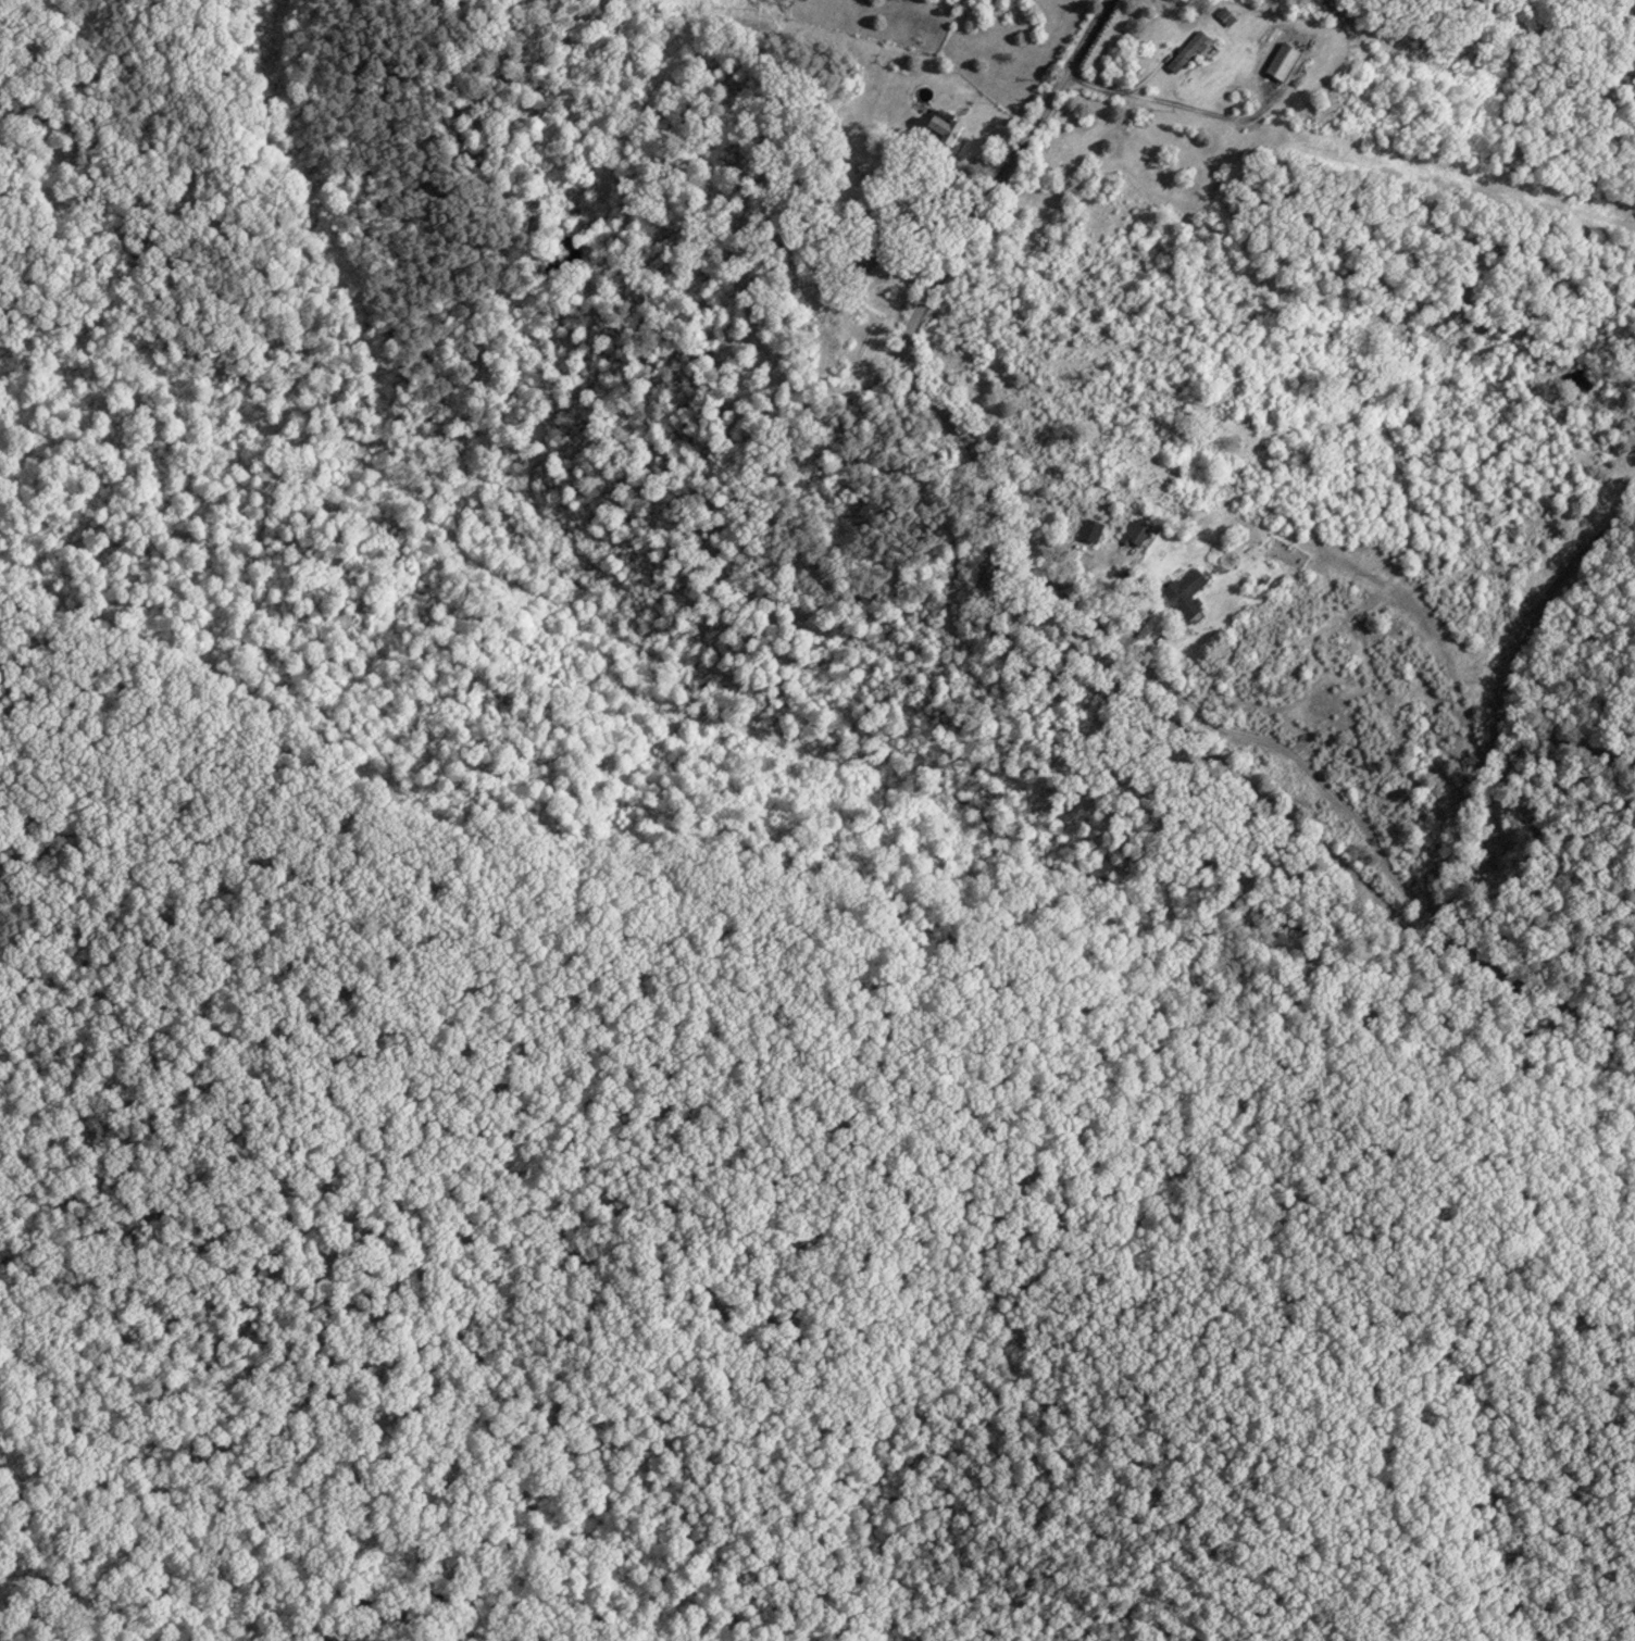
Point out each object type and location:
building: (1186, 50)
building: (1281, 60)
building: (941, 129)
building: (1090, 527)
building: (1134, 529)
building: (1185, 593)
road: (1056, 638)

